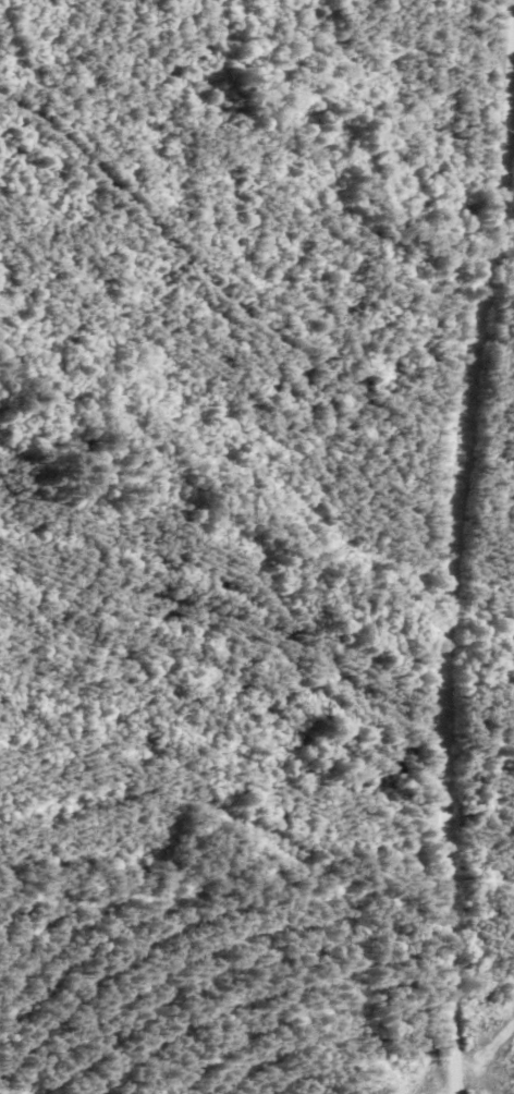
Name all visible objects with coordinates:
road: (456, 546)

